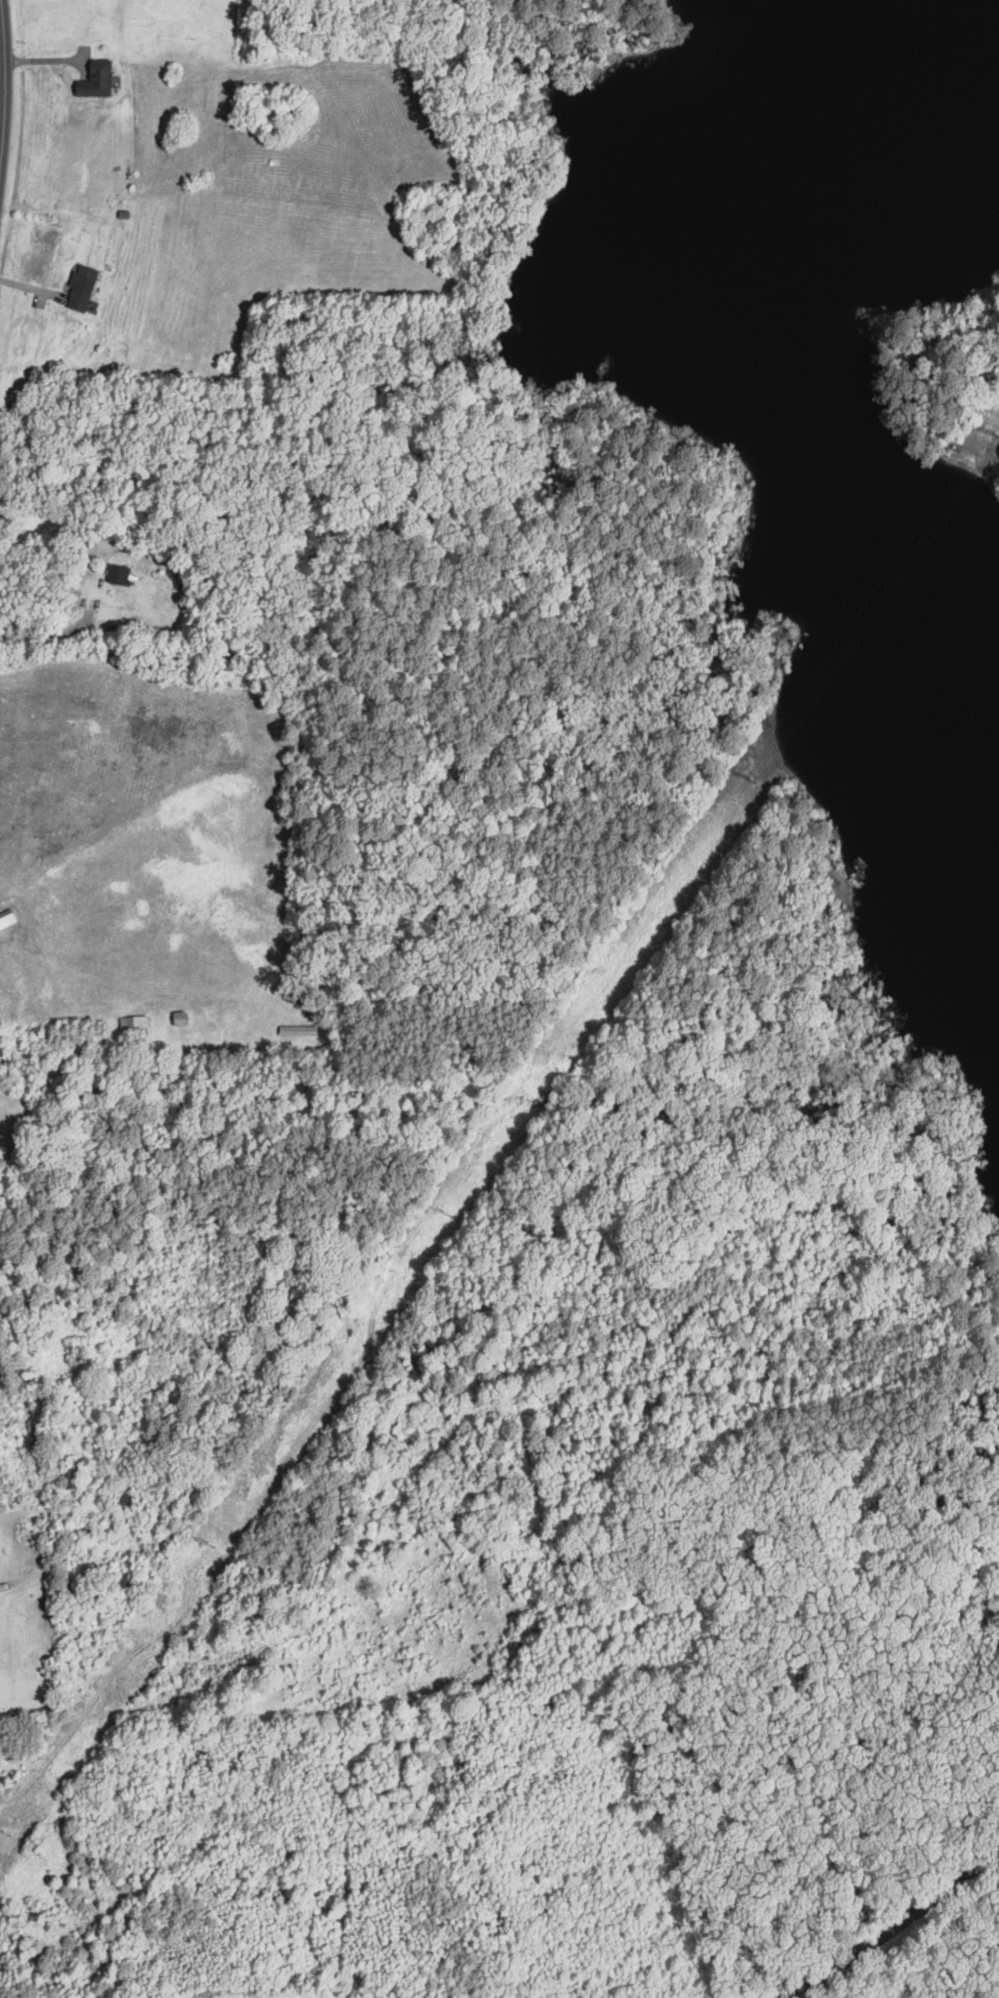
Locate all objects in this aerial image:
building: (96, 80)
road: (9, 97)
building: (85, 289)
power tower: (998, 434)
building: (119, 574)
power tower: (755, 779)
building: (6, 918)
building: (179, 1017)
building: (133, 1023)
building: (298, 1030)
power tower: (448, 1209)
building: (77, 1477)
building: (124, 1498)
building: (82, 1529)
power tower: (212, 1543)
road: (18, 1572)
building: (123, 1580)
power tower: (9, 1828)
road: (890, 1929)

